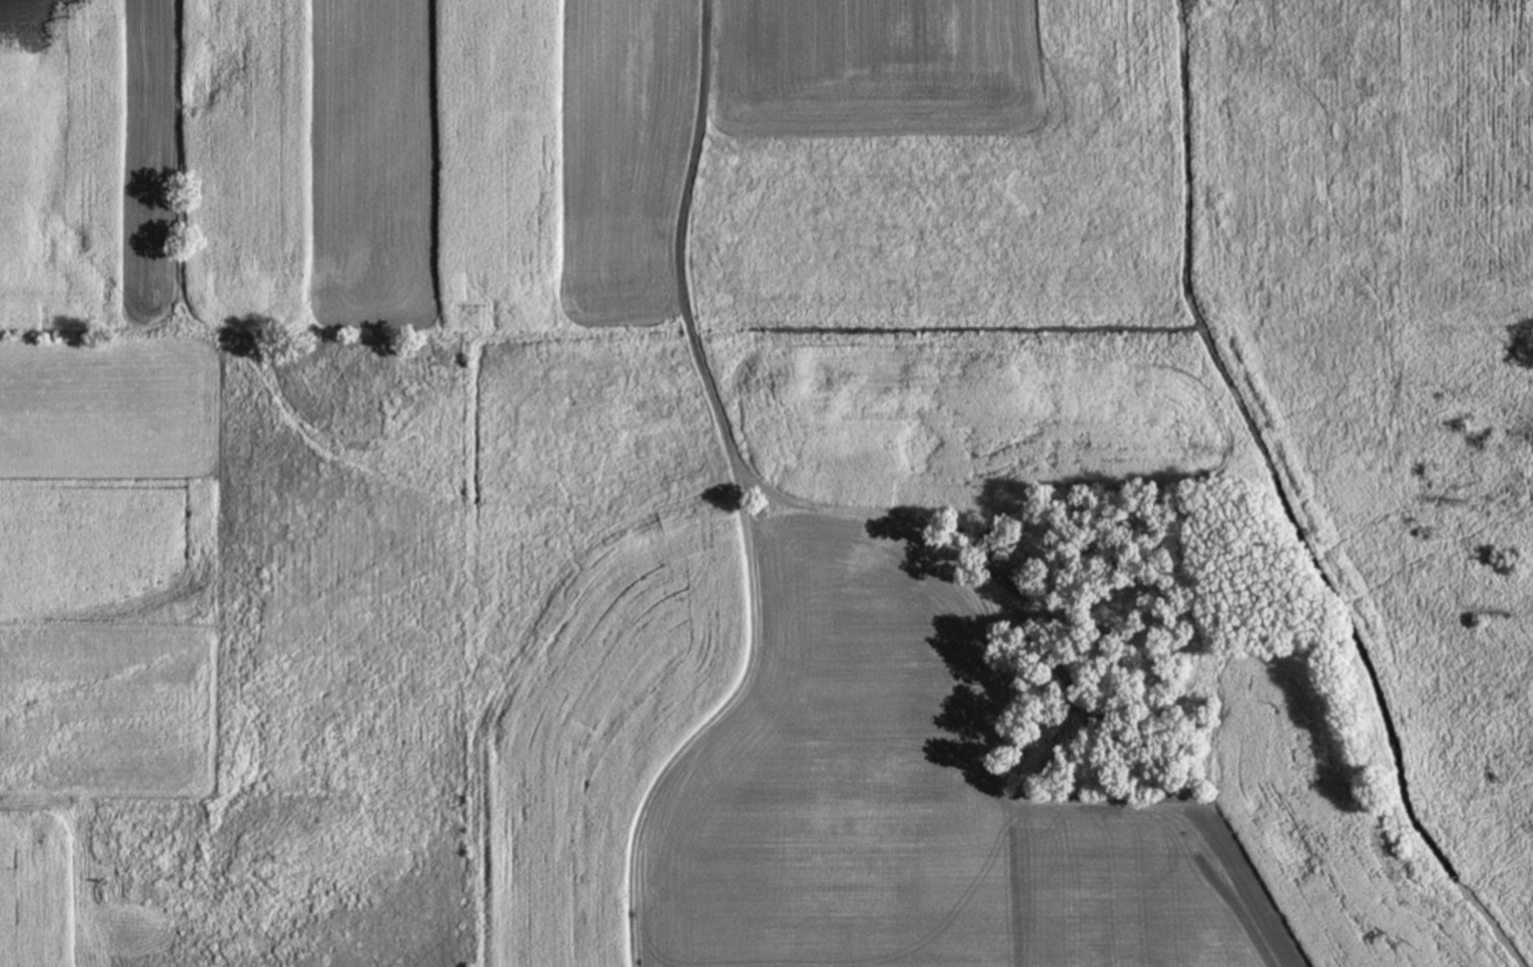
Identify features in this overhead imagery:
road: (681, 312)

